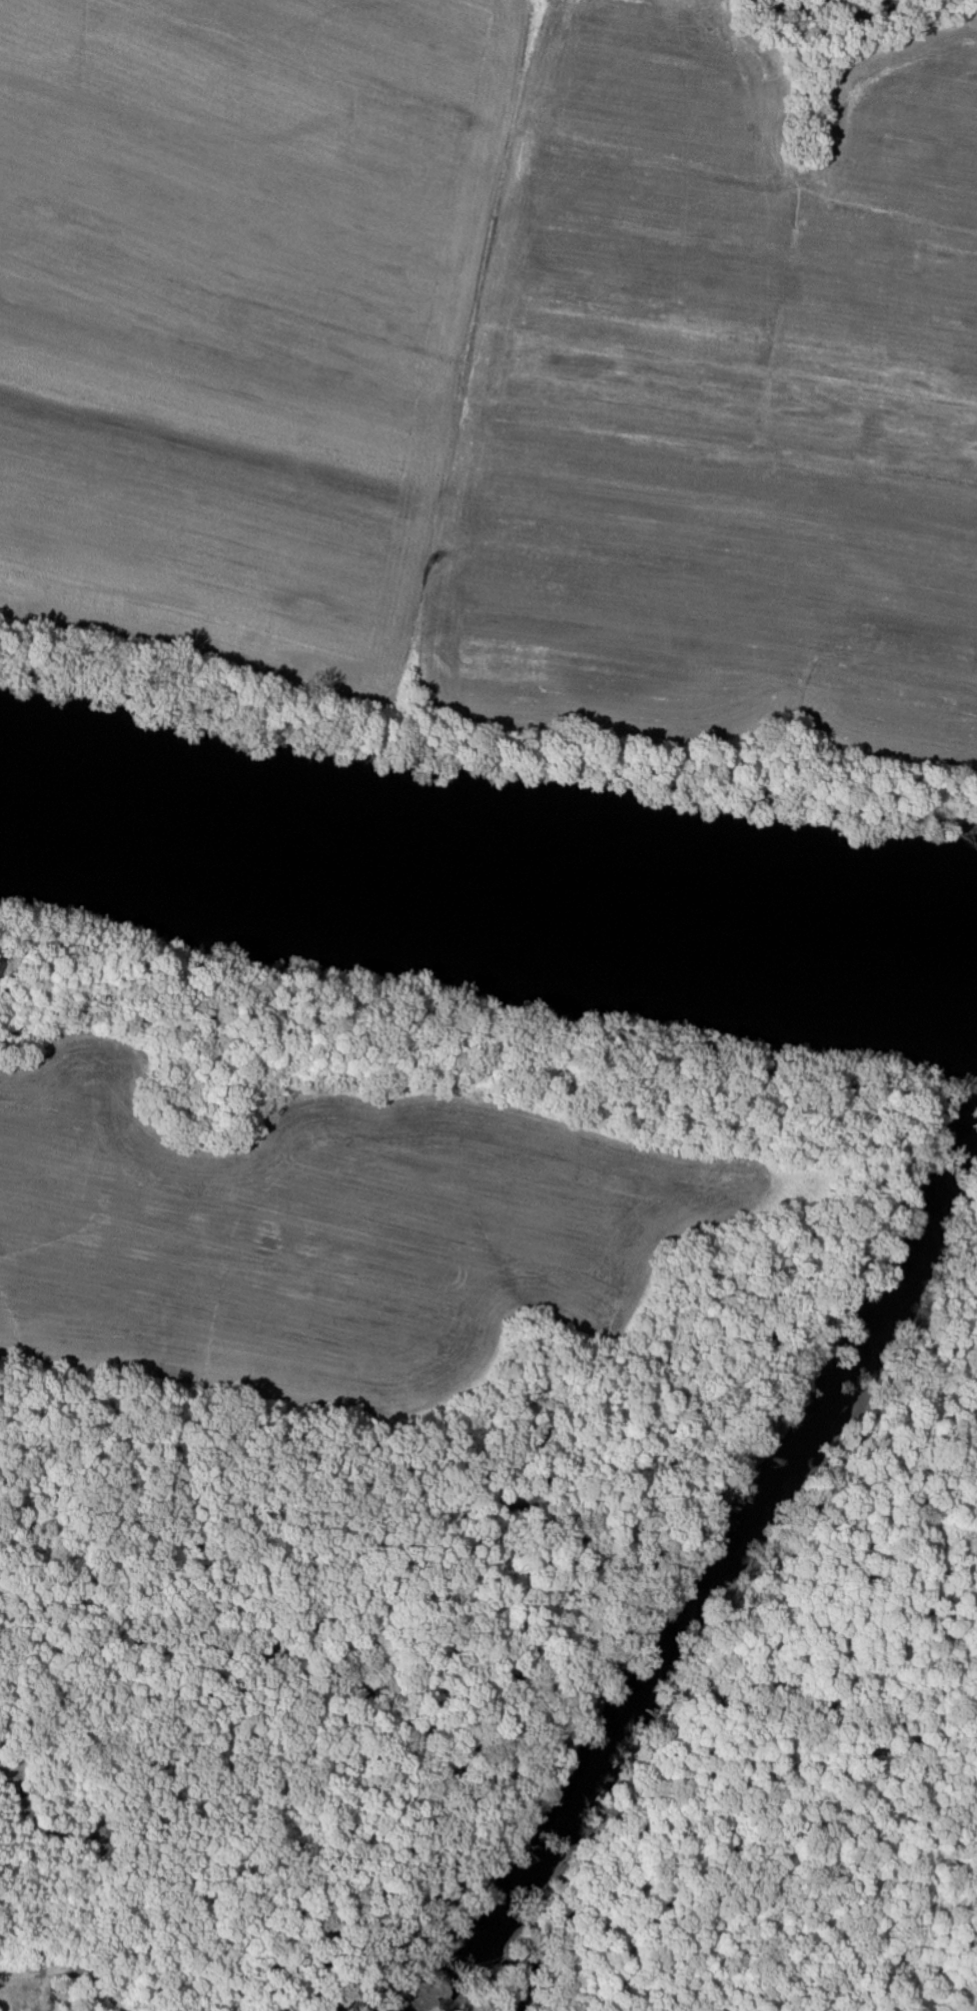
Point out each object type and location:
river: (488, 871)
river: (727, 1561)
road: (108, 1687)

